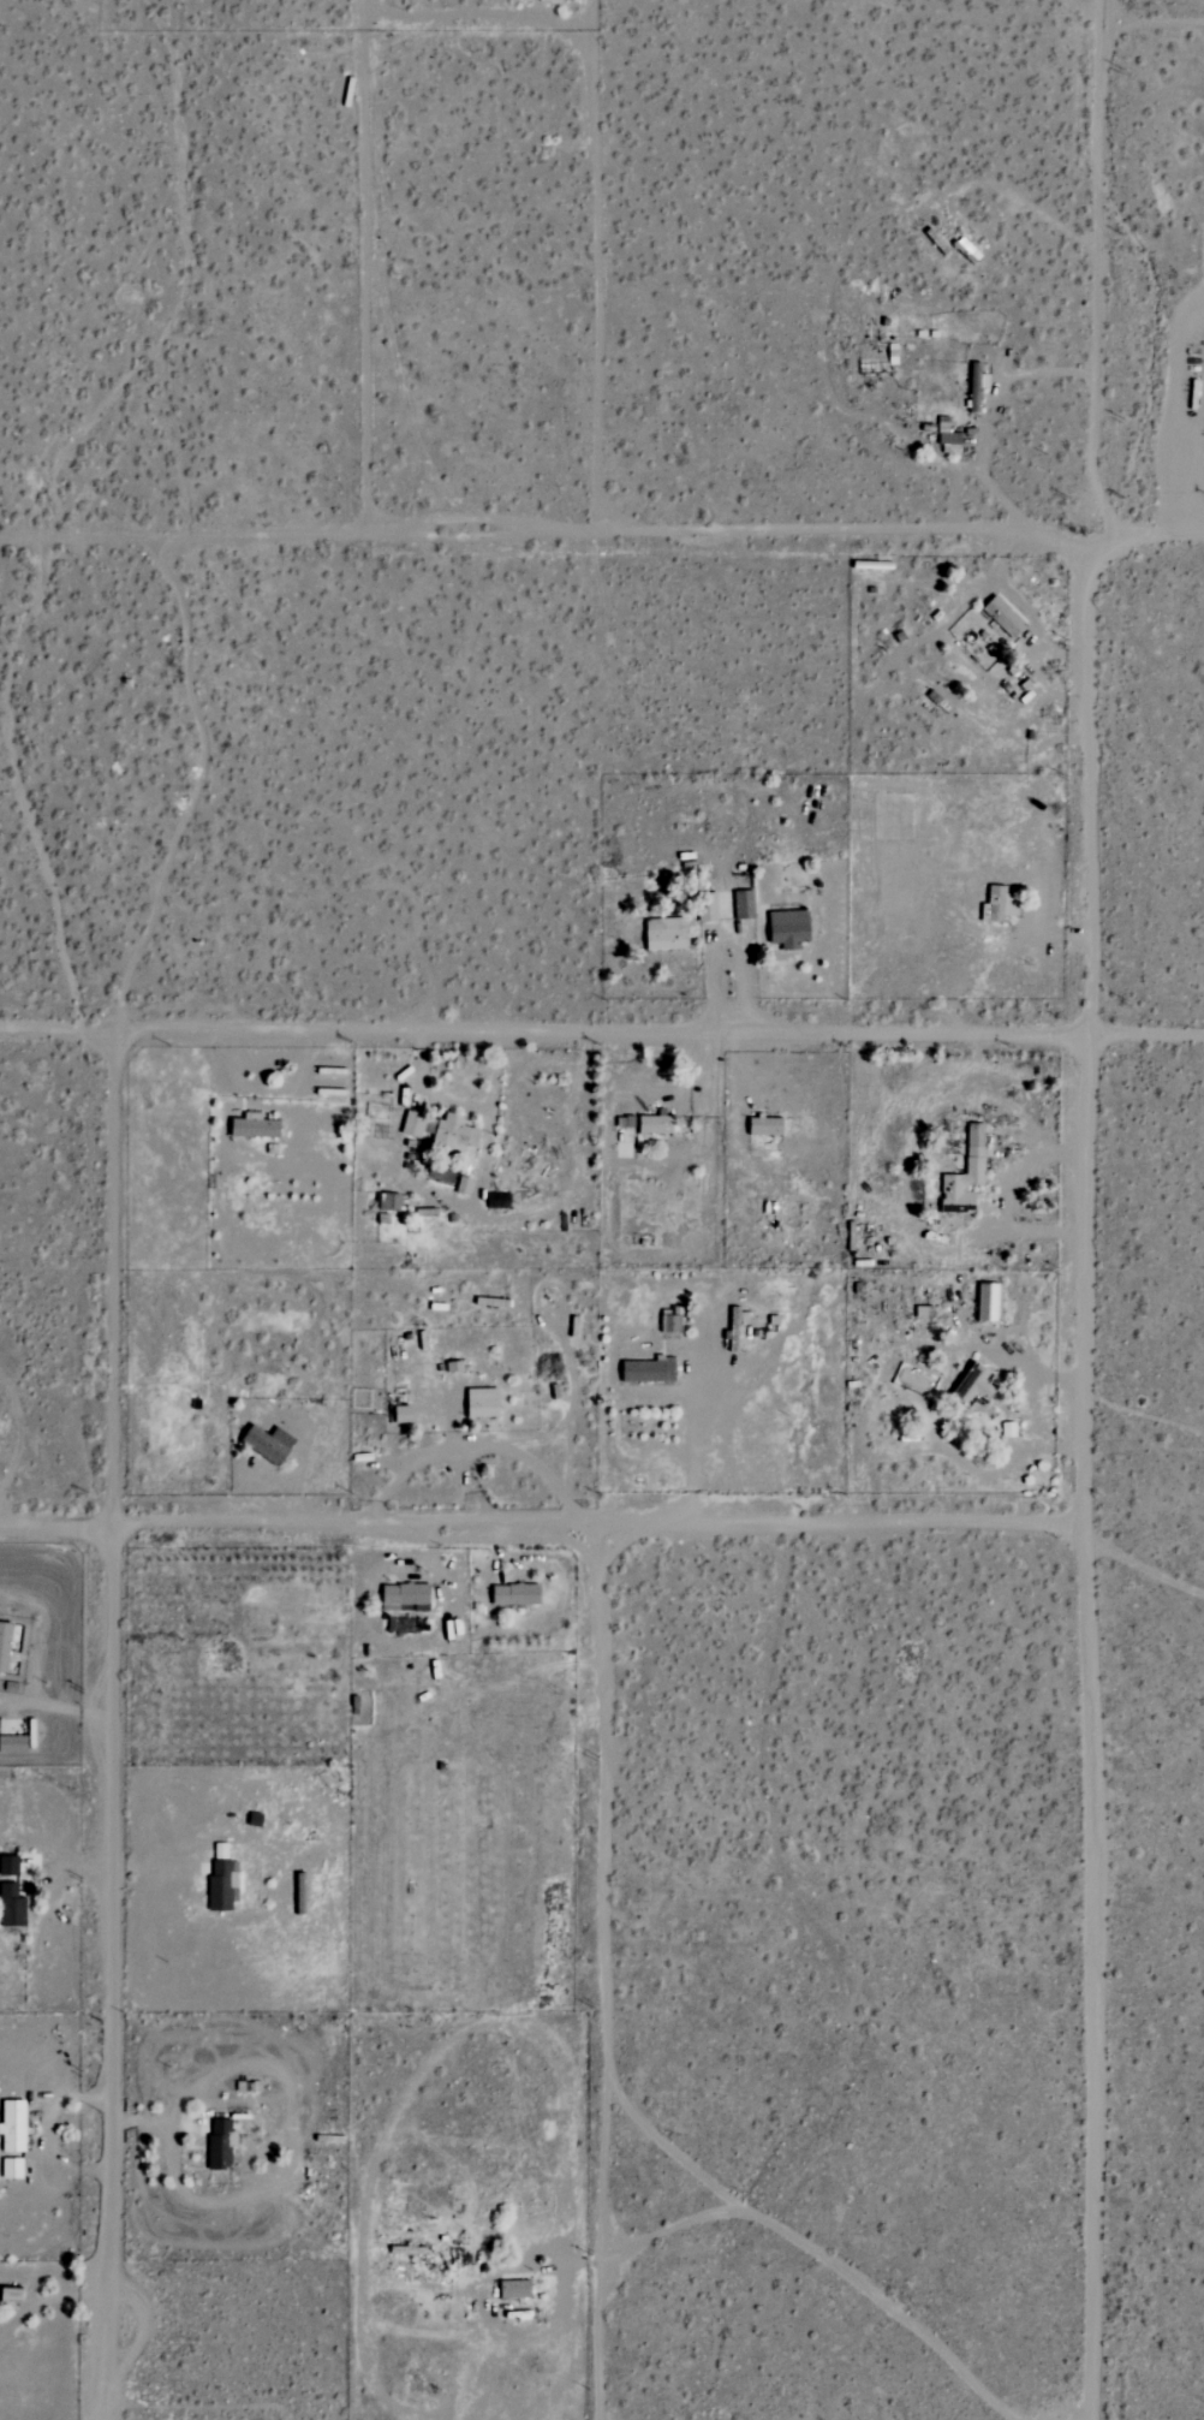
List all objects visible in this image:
road: (368, 6)
road: (471, 14)
road: (585, 14)
road: (1152, 19)
road: (844, 255)
building: (977, 386)
road: (987, 414)
building: (949, 436)
road: (958, 489)
road: (547, 528)
road: (1150, 529)
building: (1005, 617)
building: (744, 904)
building: (995, 904)
building: (789, 928)
building: (666, 933)
road: (728, 944)
road: (601, 1030)
road: (459, 1101)
building: (413, 1123)
building: (656, 1123)
building: (767, 1125)
building: (256, 1128)
building: (455, 1134)
building: (966, 1175)
road: (1003, 1195)
road: (546, 1203)
road: (1086, 1209)
building: (989, 1301)
building: (672, 1321)
building: (650, 1369)
building: (974, 1386)
building: (483, 1402)
road: (571, 1403)
road: (1026, 1411)
building: (405, 1414)
building: (1009, 1429)
road: (540, 1439)
road: (690, 1441)
building: (269, 1443)
road: (470, 1447)
road: (303, 1456)
road: (538, 1521)
building: (517, 1594)
building: (406, 1597)
building: (5, 1645)
road: (55, 1705)
road: (111, 1720)
building: (13, 1743)
building: (10, 1865)
road: (153, 1871)
building: (223, 1880)
building: (12, 1905)
road: (285, 2112)
building: (13, 2125)
road: (43, 2134)
building: (221, 2143)
building: (12, 2168)
building: (515, 2289)
building: (12, 2294)
road: (50, 2297)
road: (460, 2365)

